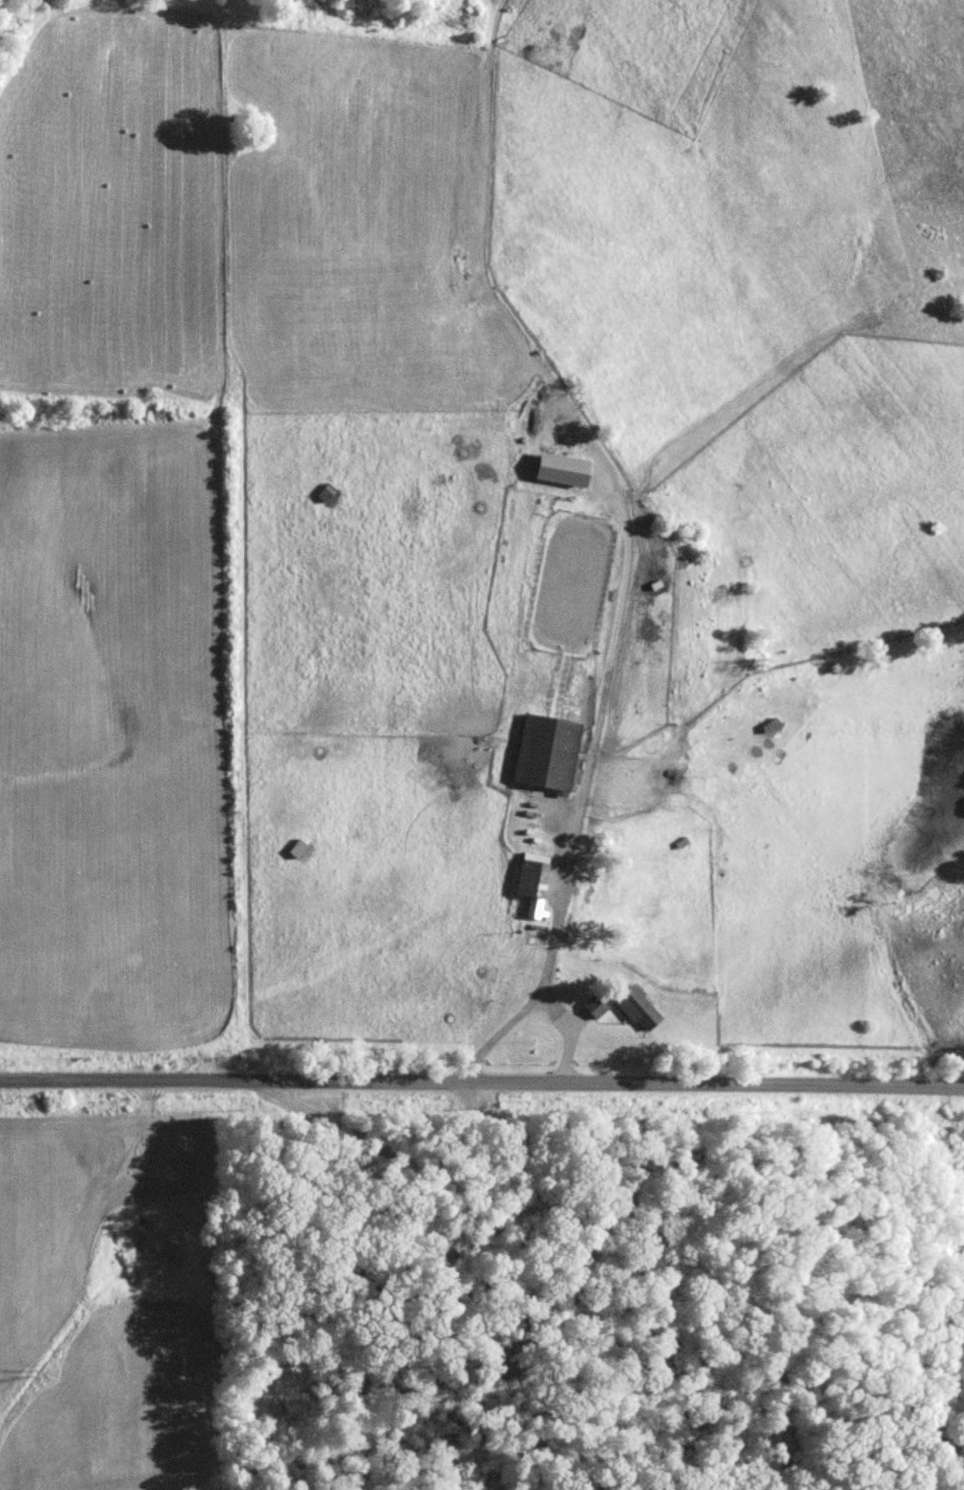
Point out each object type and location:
building: (562, 468)
building: (327, 492)
building: (773, 725)
building: (548, 752)
building: (297, 848)
building: (532, 879)
building: (596, 1005)
building: (639, 1009)
road: (482, 1079)
road: (604, 1220)

